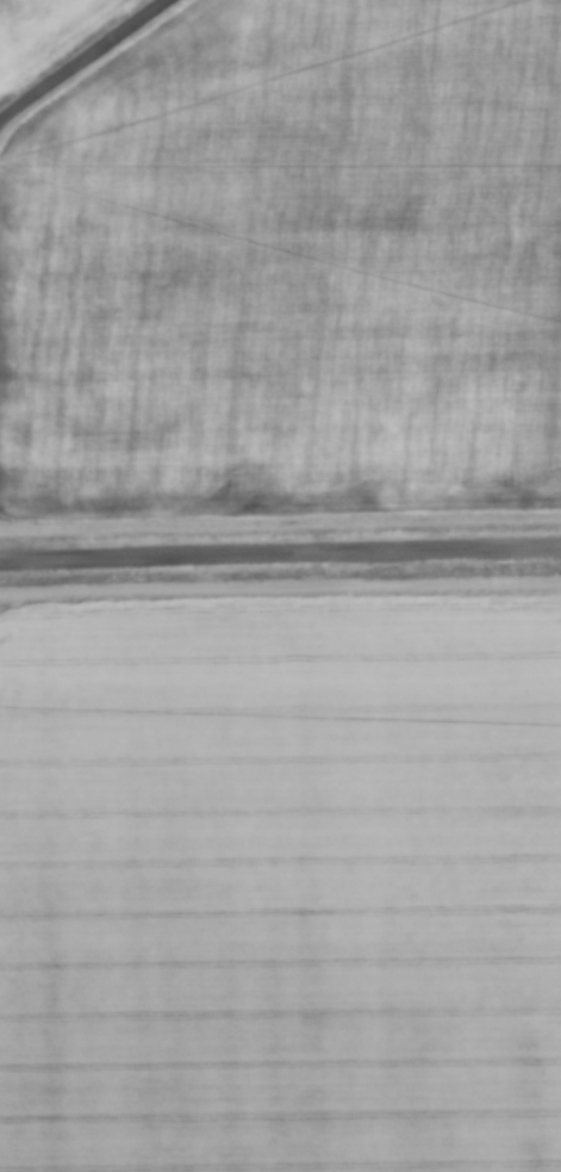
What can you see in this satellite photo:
road: (80, 60)
road: (280, 553)

